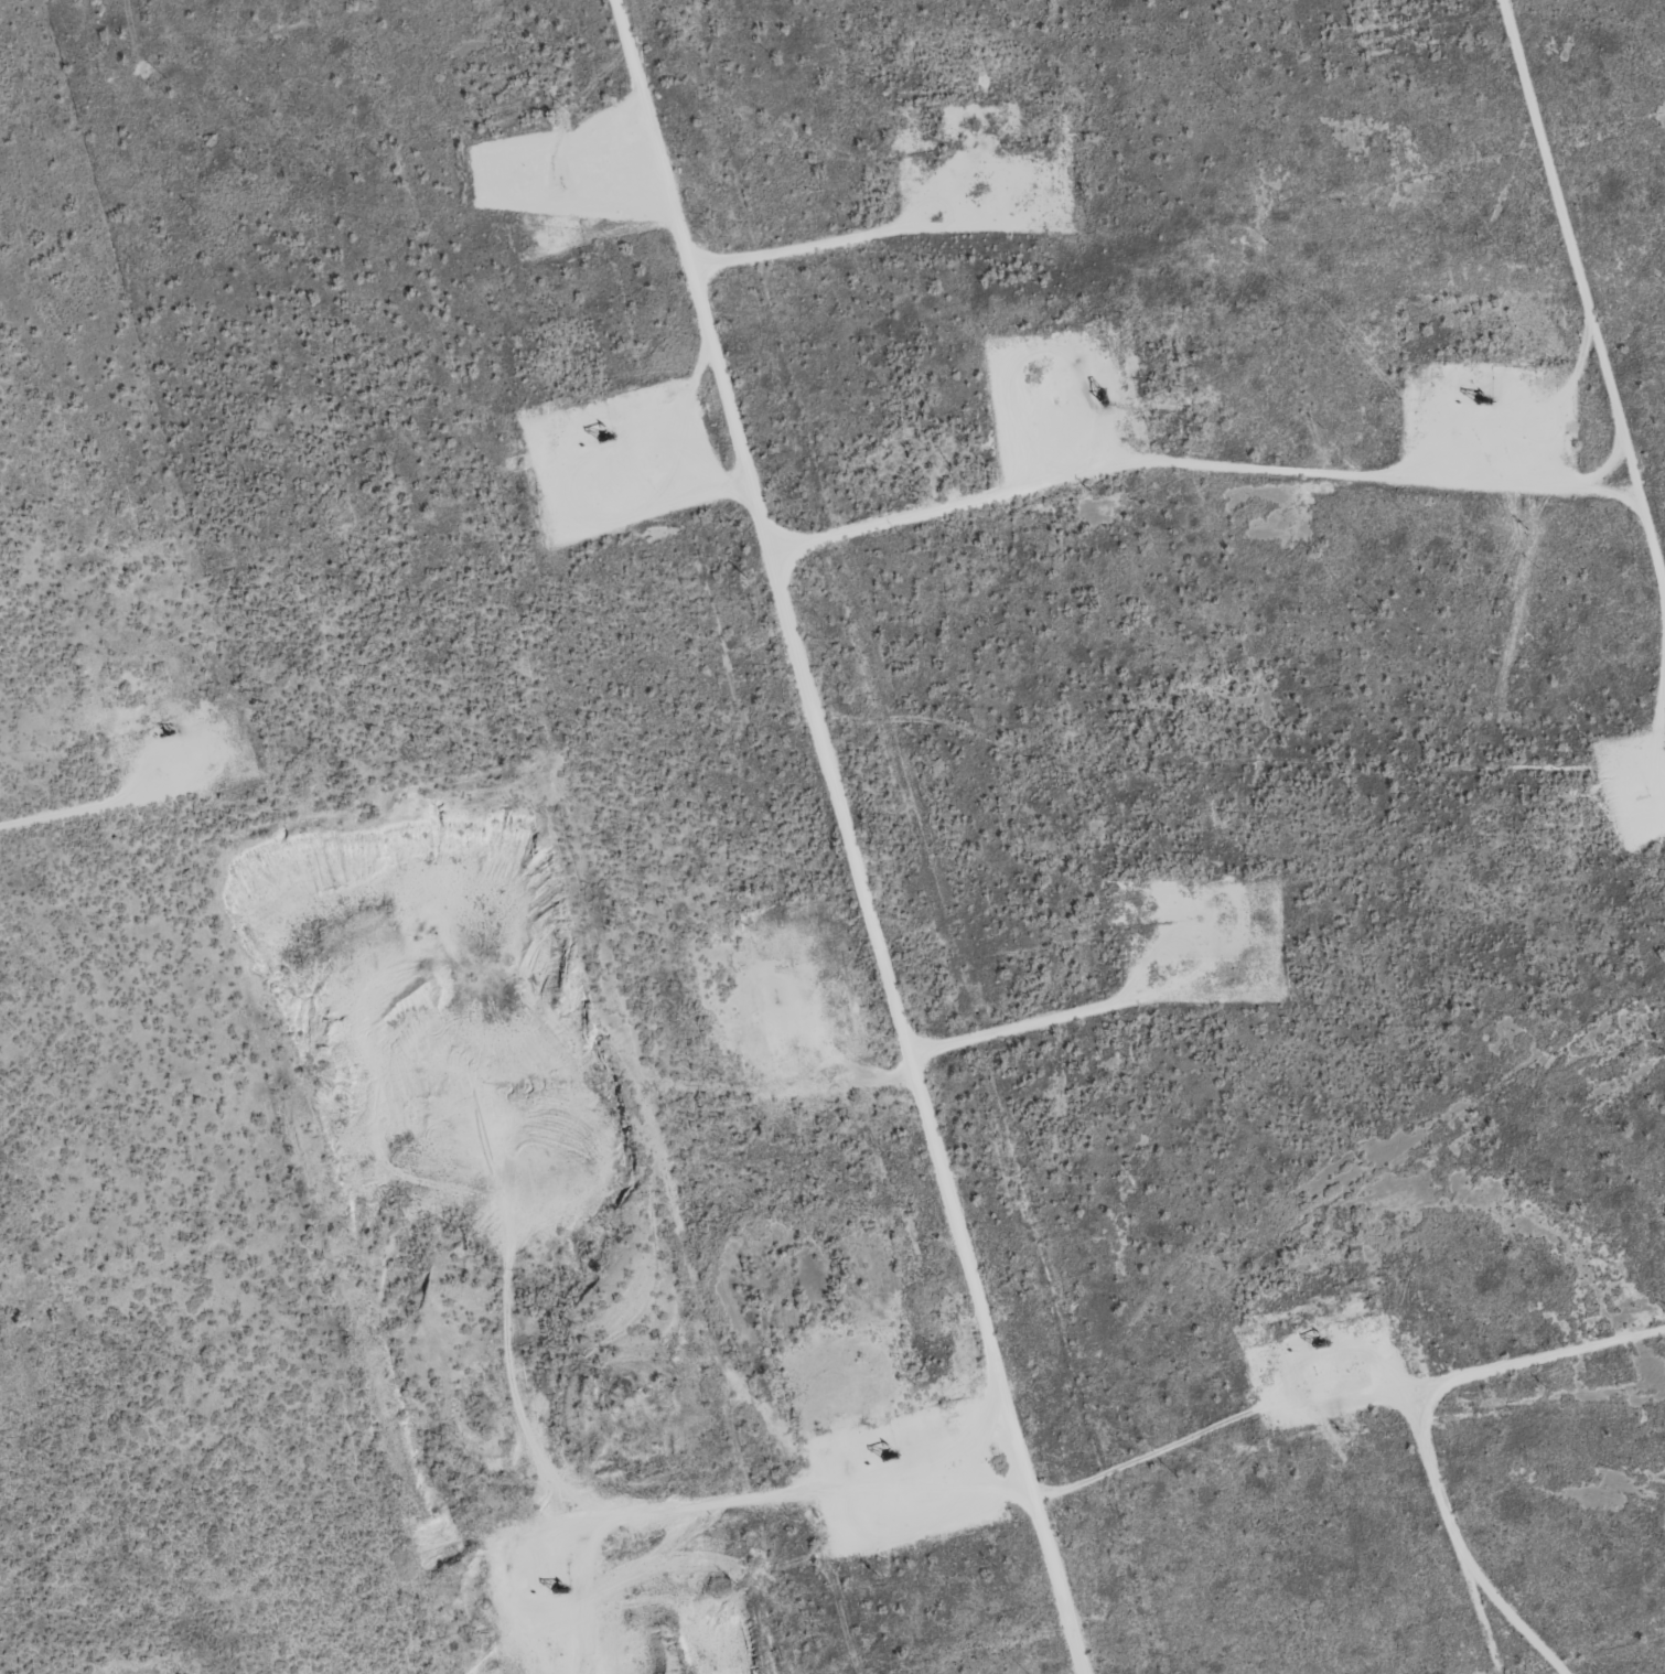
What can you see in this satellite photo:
road: (1435, 474)
road: (845, 836)

